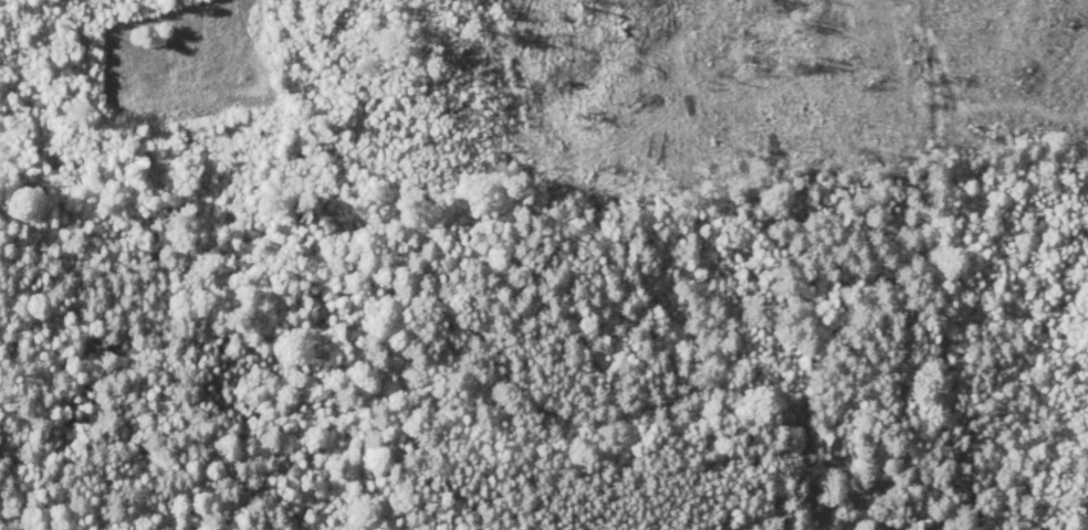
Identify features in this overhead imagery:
road: (762, 265)

